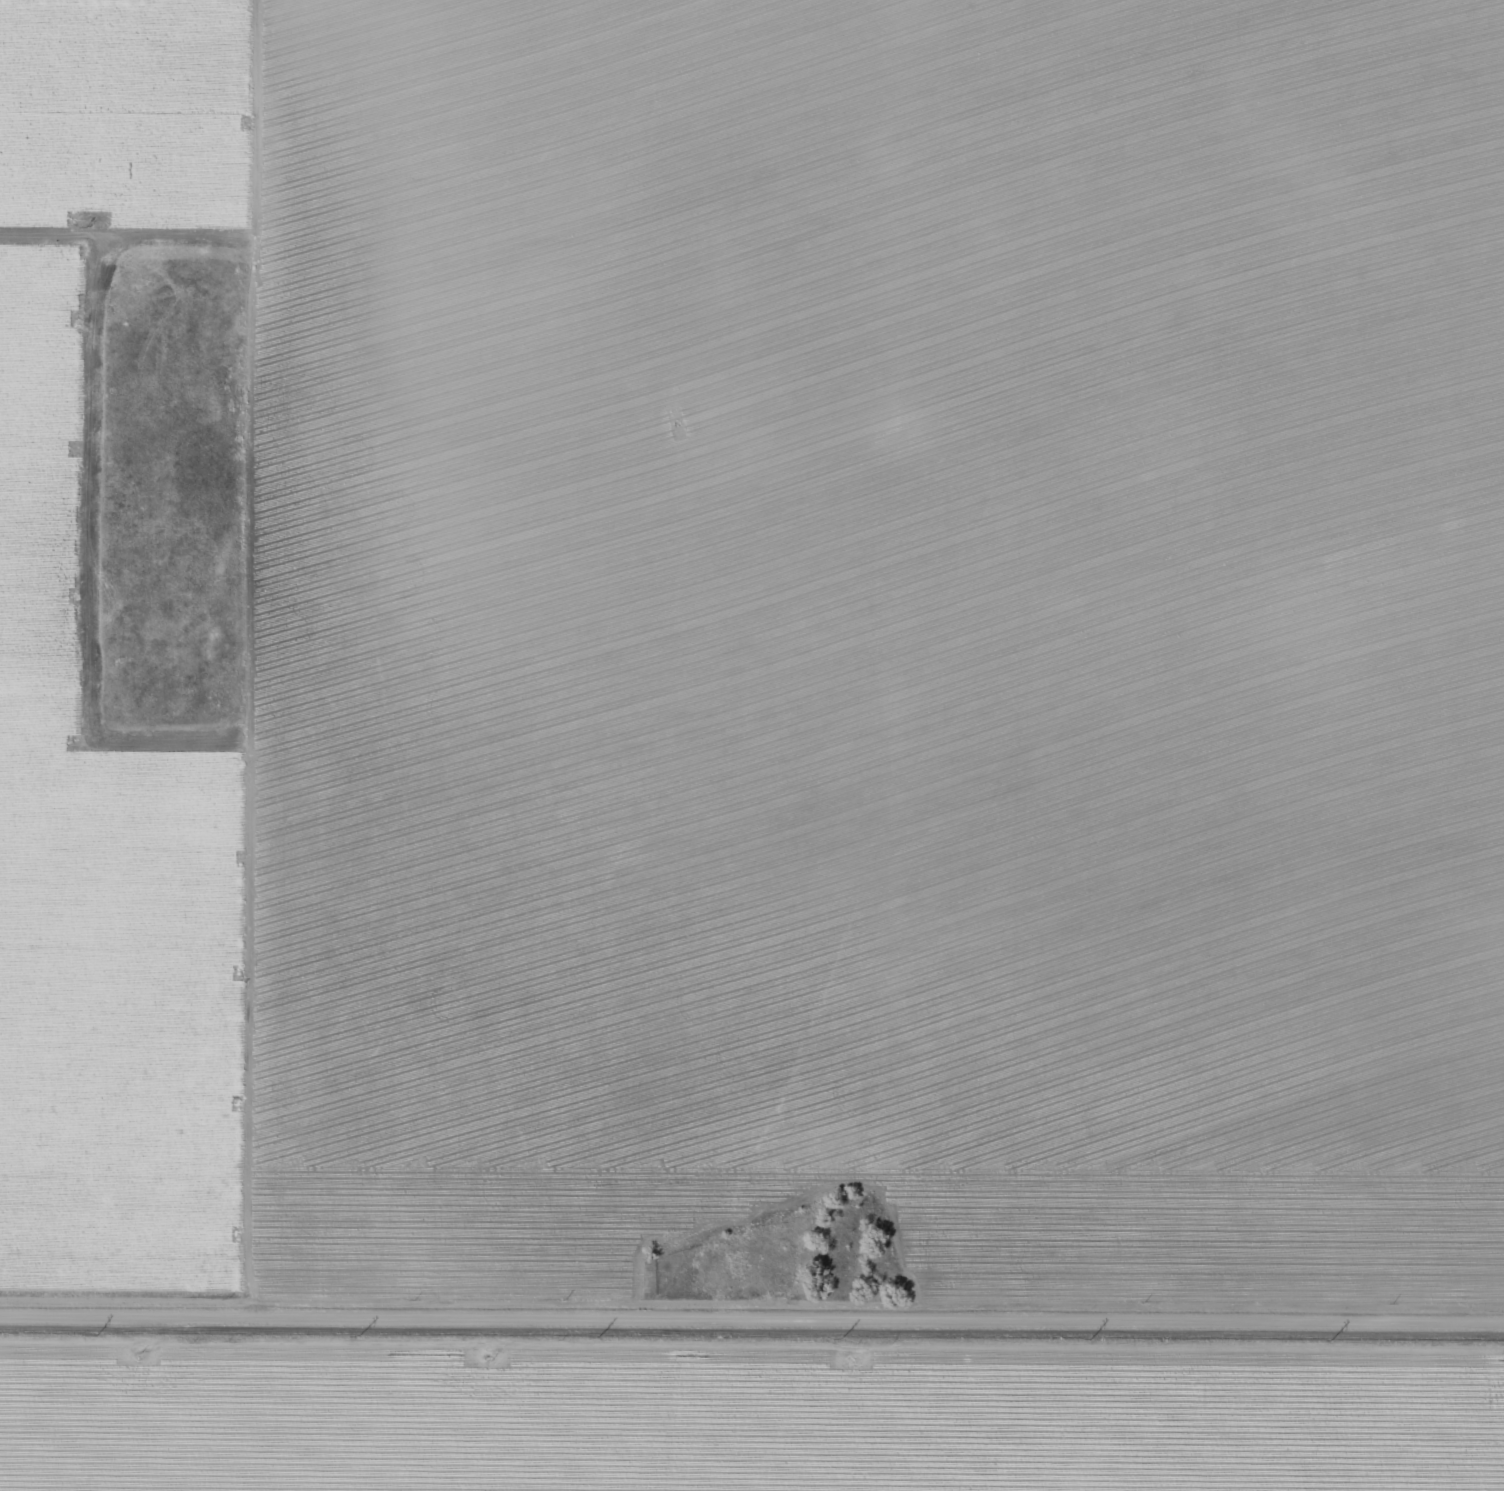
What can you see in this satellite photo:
road: (752, 1323)

